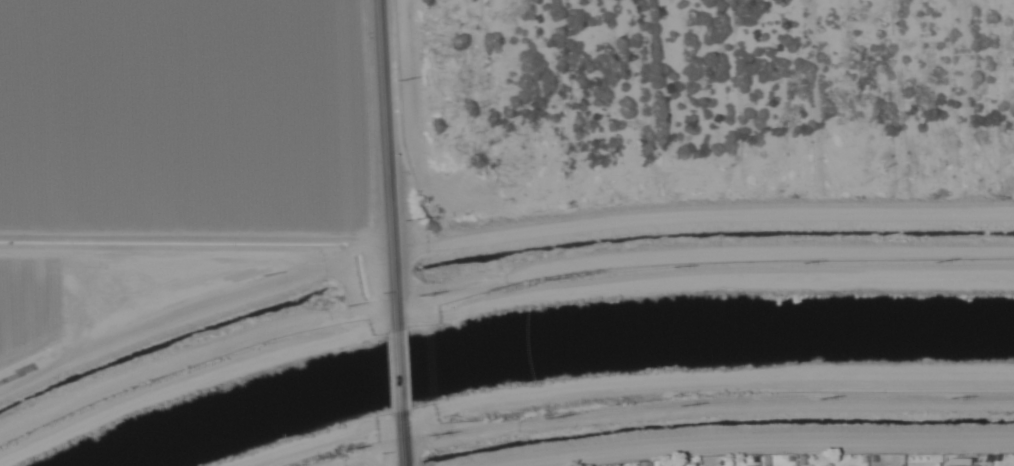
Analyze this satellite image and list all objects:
road: (394, 166)
road: (506, 280)
road: (397, 372)
road: (400, 439)

